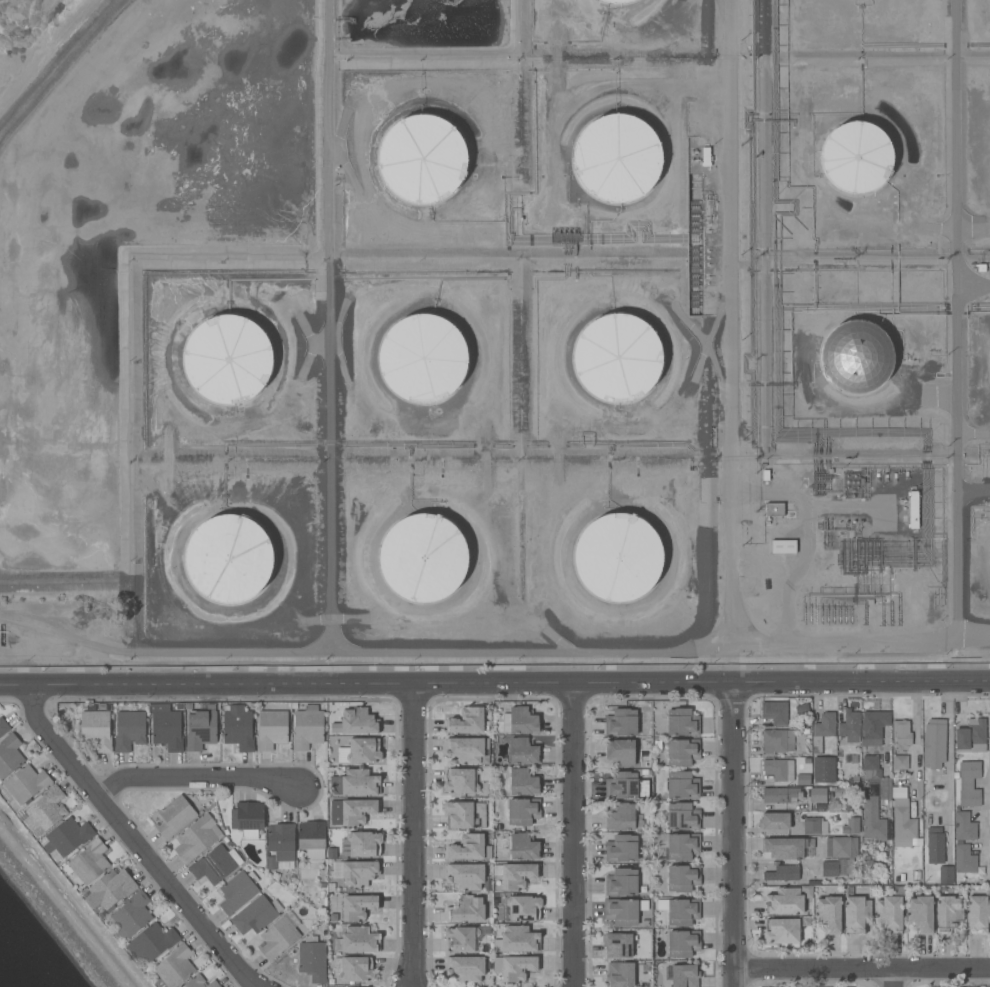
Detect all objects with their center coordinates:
building: (615, 1)
storage tank: (615, 1)
building: (856, 157)
storage tank: (856, 157)
building: (422, 158)
storage tank: (422, 158)
building: (617, 158)
storage tank: (617, 158)
building: (617, 357)
storage tank: (617, 357)
building: (856, 357)
storage tank: (856, 357)
building: (423, 358)
storage tank: (423, 358)
building: (228, 359)
storage tank: (228, 359)
building: (775, 509)
building: (914, 510)
building: (783, 546)
building: (618, 557)
storage tank: (618, 557)
building: (229, 558)
storage tank: (229, 558)
building: (423, 558)
storage tank: (423, 558)
road: (529, 655)
road: (495, 686)
building: (775, 712)
building: (359, 721)
building: (468, 721)
building: (520, 721)
building: (621, 722)
building: (682, 722)
building: (825, 725)
building: (3, 726)
building: (850, 726)
building: (238, 727)
building: (307, 727)
building: (201, 728)
building: (873, 728)
building: (271, 729)
building: (96, 730)
building: (129, 730)
building: (167, 730)
building: (902, 732)
building: (971, 737)
building: (776, 741)
building: (934, 743)
road: (916, 748)
building: (468, 750)
building: (359, 751)
building: (522, 751)
building: (682, 752)
building: (620, 753)
building: (9, 755)
building: (901, 763)
building: (870, 767)
building: (778, 769)
road: (949, 773)
road: (196, 777)
building: (803, 779)
building: (0, 781)
building: (460, 781)
building: (523, 782)
building: (355, 783)
building: (26, 784)
building: (969, 784)
building: (682, 785)
building: (621, 786)
building: (885, 789)
building: (842, 793)
building: (899, 793)
building: (793, 794)
building: (774, 795)
building: (817, 795)
building: (45, 811)
building: (357, 811)
building: (523, 811)
building: (480, 813)
building: (460, 815)
building: (174, 817)
building: (247, 817)
building: (620, 817)
building: (682, 817)
building: (774, 819)
building: (873, 820)
road: (984, 822)
building: (903, 824)
building: (815, 826)
building: (851, 826)
building: (964, 826)
building: (67, 836)
road: (413, 836)
road: (575, 836)
road: (734, 836)
building: (196, 838)
building: (989, 838)
building: (311, 839)
road: (137, 840)
building: (361, 844)
building: (680, 846)
building: (839, 846)
building: (934, 846)
building: (280, 847)
building: (523, 847)
building: (469, 848)
building: (782, 848)
building: (622, 849)
building: (964, 859)
building: (89, 862)
building: (866, 862)
building: (215, 865)
building: (833, 867)
building: (359, 872)
building: (785, 873)
building: (989, 874)
building: (515, 875)
building: (946, 875)
building: (465, 876)
building: (683, 878)
building: (621, 882)
building: (110, 889)
building: (238, 891)
building: (784, 901)
building: (358, 906)
building: (524, 908)
building: (466, 909)
building: (624, 911)
building: (682, 912)
building: (828, 914)
building: (857, 914)
building: (889, 914)
building: (920, 914)
building: (948, 914)
building: (978, 914)
building: (131, 915)
building: (254, 916)
building: (806, 922)
building: (782, 930)
building: (277, 938)
building: (464, 938)
building: (360, 940)
building: (519, 940)
building: (152, 942)
building: (683, 944)
building: (618, 945)
building: (312, 958)
building: (174, 967)
building: (514, 967)
building: (465, 968)
building: (614, 969)
building: (356, 970)
road: (861, 970)
building: (623, 976)
building: (685, 976)
road: (894, 978)
building: (194, 982)
building: (213, 984)

